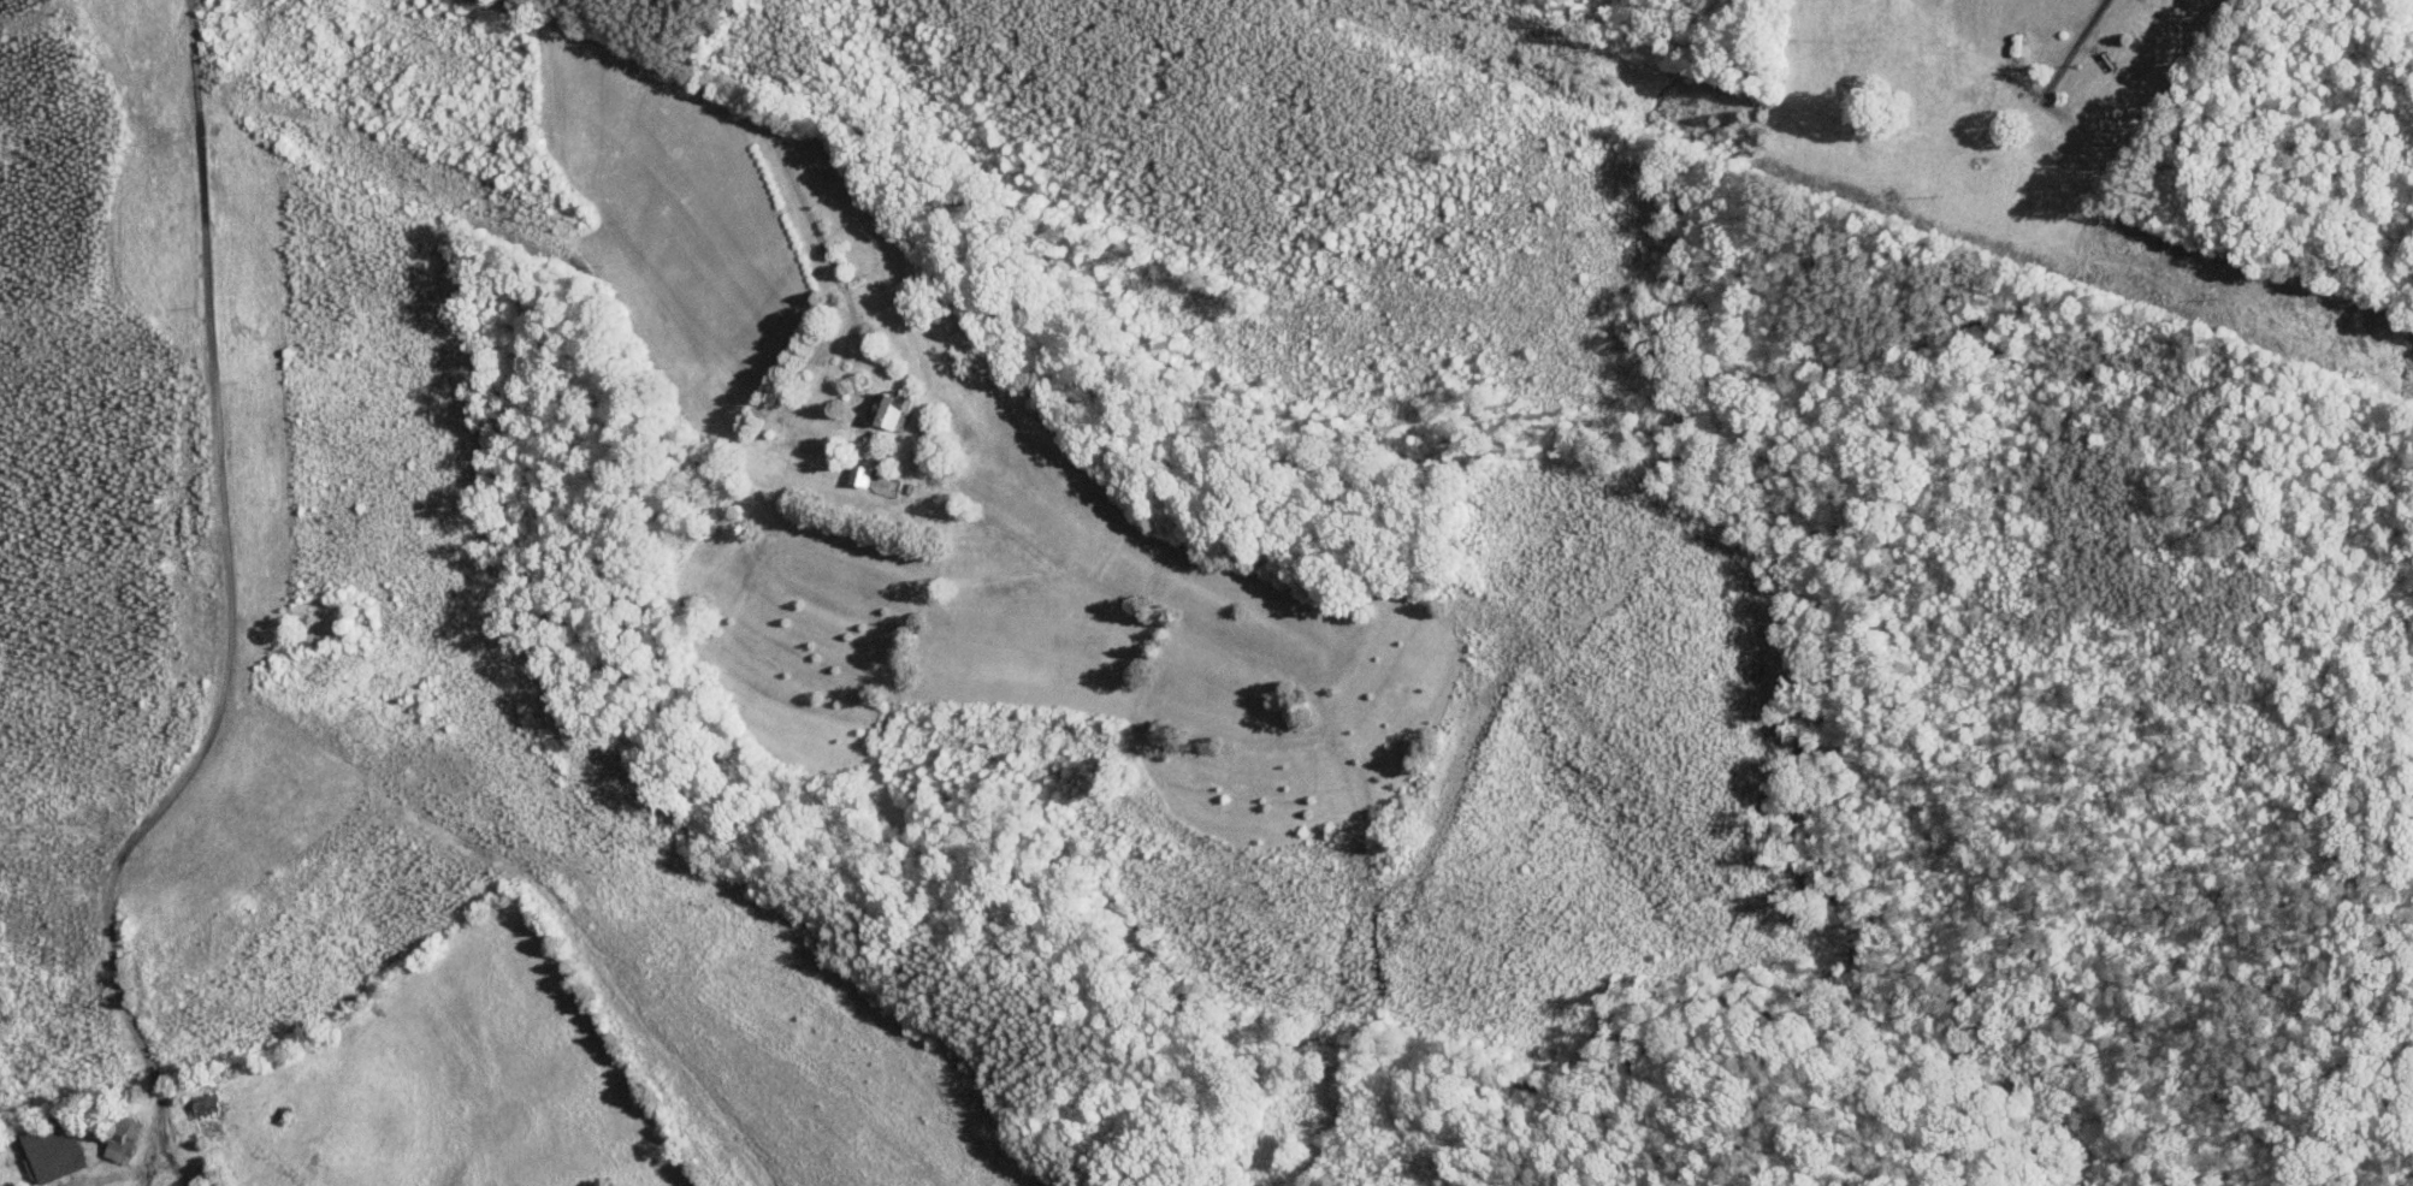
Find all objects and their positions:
road: (2075, 40)
road: (761, 134)
power tower: (1945, 194)
road: (226, 616)

